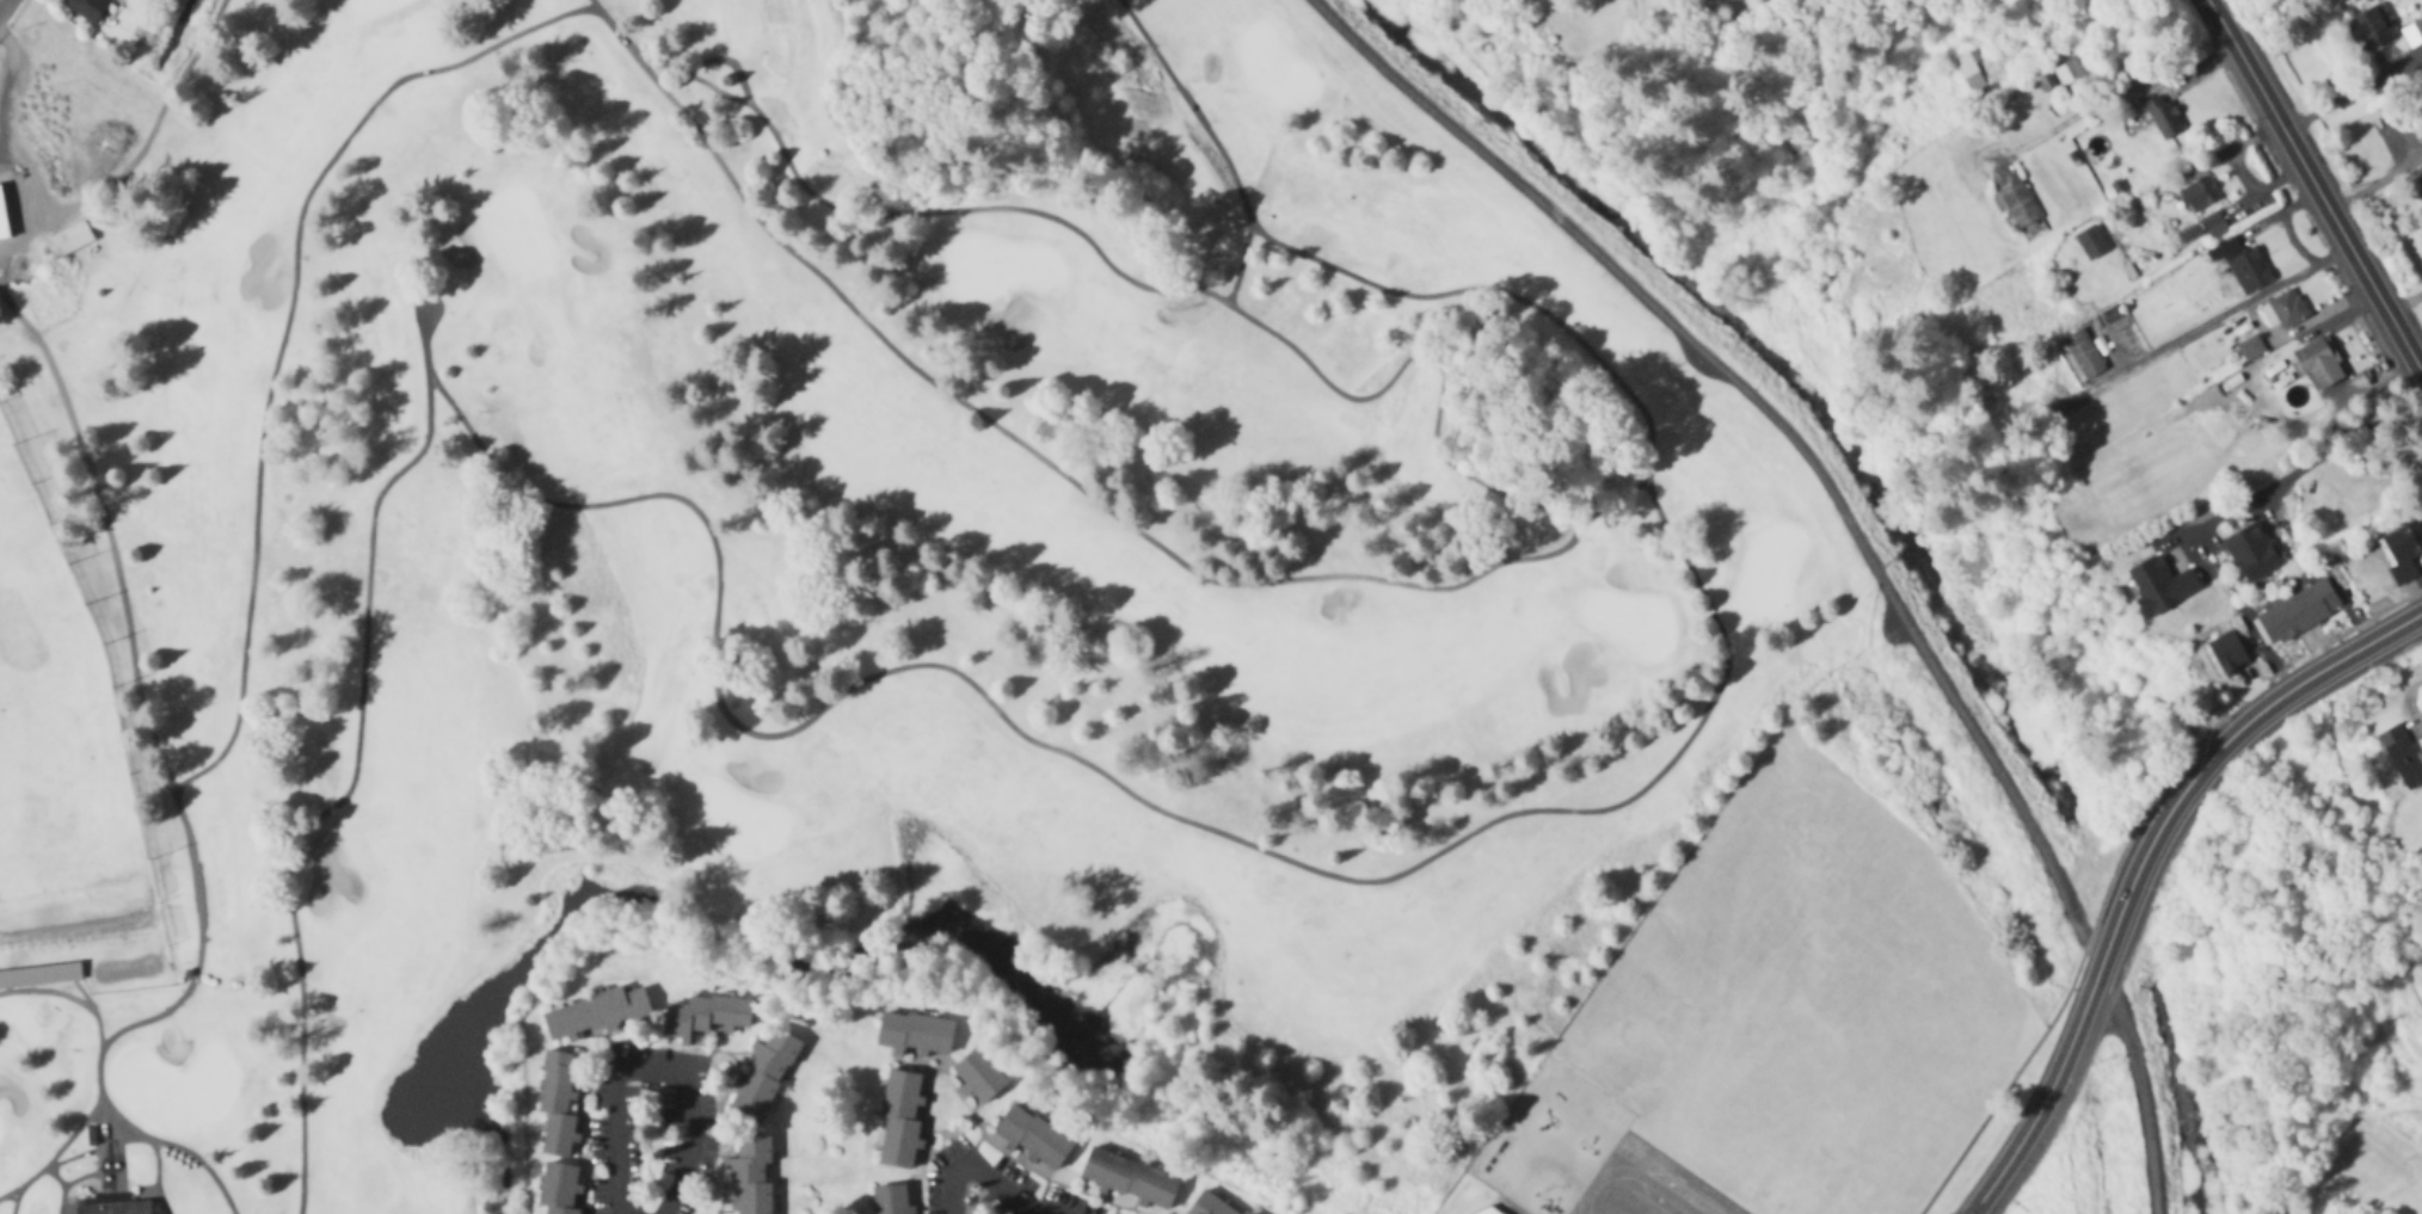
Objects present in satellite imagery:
road: (2, 4)
building: (87, 6)
building: (2369, 29)
building: (2412, 33)
road: (729, 64)
building: (2067, 73)
building: (1969, 75)
road: (2352, 91)
road: (2108, 95)
building: (2163, 116)
road: (2375, 175)
road: (2315, 181)
building: (2199, 195)
building: (2018, 203)
building: (2, 218)
building: (2214, 224)
building: (68, 236)
building: (2091, 242)
building: (2243, 265)
road: (1237, 270)
road: (428, 301)
road: (2406, 301)
road: (2245, 304)
building: (2283, 308)
building: (2114, 318)
road: (290, 323)
building: (2082, 355)
road: (428, 360)
building: (2317, 363)
road: (1742, 387)
road: (2303, 463)
road: (1575, 537)
building: (2403, 548)
building: (2252, 551)
road: (117, 571)
park: (837, 573)
building: (2168, 581)
building: (2297, 612)
building: (2402, 756)
road: (346, 797)
road: (1444, 851)
road: (2140, 868)
building: (39, 972)
road: (48, 996)
road: (93, 1011)
building: (715, 1012)
building: (597, 1013)
building: (915, 1034)
road: (2125, 1035)
road: (653, 1070)
building: (979, 1076)
building: (761, 1078)
building: (555, 1086)
road: (122, 1119)
building: (899, 1120)
building: (559, 1133)
building: (1033, 1135)
road: (182, 1147)
road: (56, 1154)
road: (156, 1163)
road: (982, 1173)
road: (82, 1175)
building: (751, 1175)
building: (1127, 1177)
road: (1630, 1178)
building: (559, 1184)
road: (63, 1187)
road: (147, 1189)
road: (14, 1198)
building: (889, 1200)
building: (1213, 1202)
building: (115, 1206)
building: (561, 1210)
road: (1039, 1210)
building: (1486, 1210)

